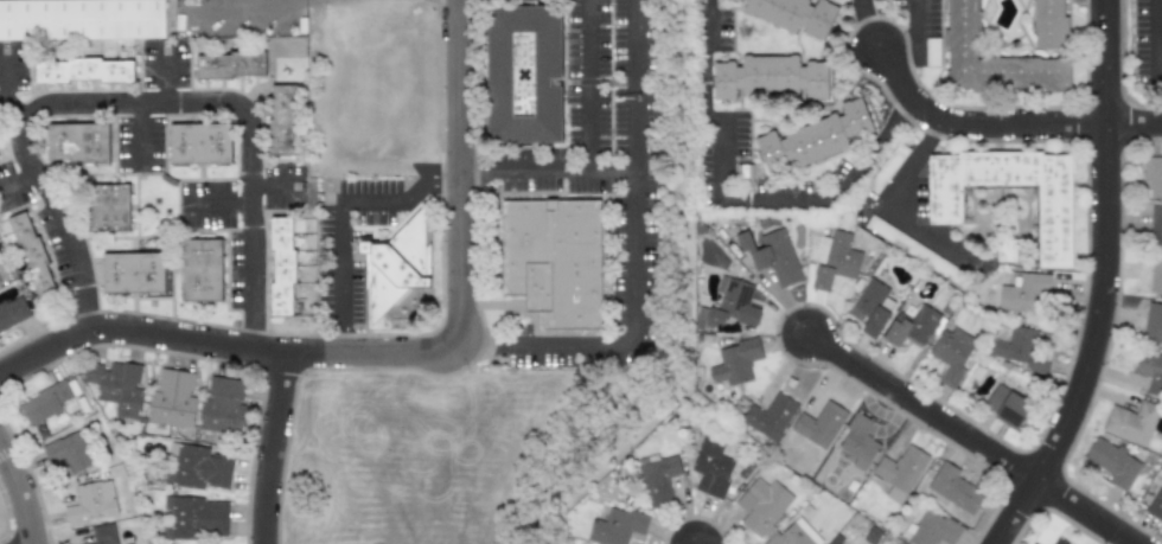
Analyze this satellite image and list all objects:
road: (307, 0)
road: (248, 2)
building: (803, 13)
building: (81, 19)
road: (868, 23)
building: (1054, 25)
road: (908, 31)
road: (1160, 39)
building: (997, 60)
building: (232, 66)
road: (704, 68)
building: (85, 72)
building: (529, 77)
road: (1161, 79)
building: (773, 81)
road: (161, 82)
road: (583, 84)
road: (634, 84)
road: (2, 92)
road: (925, 104)
road: (138, 108)
building: (285, 121)
road: (1052, 123)
road: (1134, 124)
road: (138, 137)
building: (818, 139)
building: (78, 143)
building: (203, 145)
building: (1153, 174)
building: (742, 179)
road: (17, 181)
road: (272, 185)
road: (804, 203)
road: (217, 204)
building: (950, 206)
building: (113, 209)
road: (894, 211)
road: (338, 213)
building: (1155, 224)
building: (34, 255)
building: (772, 256)
road: (632, 258)
building: (834, 260)
building: (555, 262)
building: (285, 269)
building: (204, 273)
building: (1155, 273)
building: (400, 274)
building: (136, 275)
road: (1106, 283)
building: (1023, 293)
road: (683, 299)
building: (730, 303)
building: (868, 308)
building: (12, 312)
building: (1153, 324)
building: (911, 327)
building: (1016, 346)
road: (398, 354)
building: (950, 354)
building: (734, 361)
road: (658, 369)
building: (1148, 369)
building: (115, 385)
building: (172, 398)
building: (44, 402)
building: (1004, 405)
building: (222, 407)
building: (768, 416)
building: (1131, 422)
building: (818, 424)
road: (972, 440)
building: (857, 442)
road: (267, 448)
building: (68, 452)
building: (1112, 462)
building: (196, 467)
building: (710, 467)
building: (899, 472)
building: (657, 480)
building: (953, 487)
road: (18, 499)
building: (91, 501)
building: (1155, 505)
building: (770, 513)
building: (196, 518)
building: (615, 526)
building: (930, 530)
building: (102, 535)
road: (698, 542)
building: (1058, 542)
building: (830, 543)

